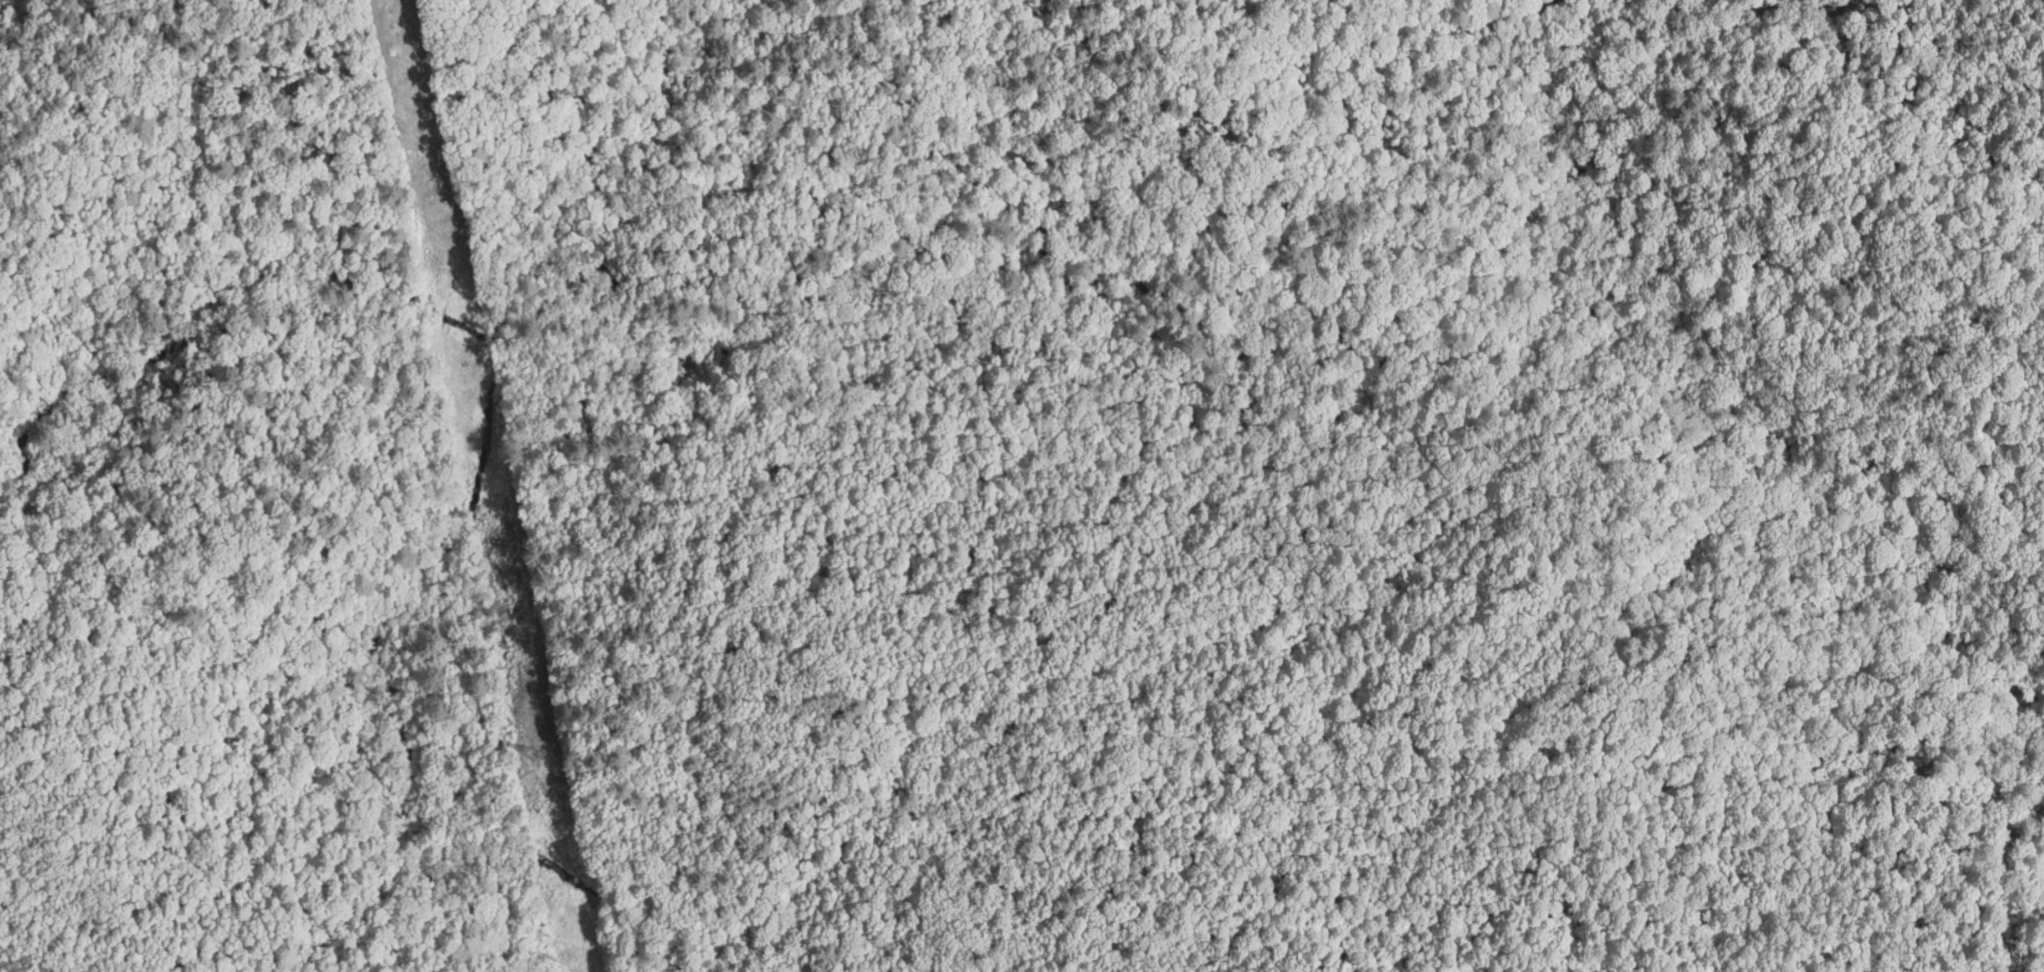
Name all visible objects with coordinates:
power tower: (539, 757)

